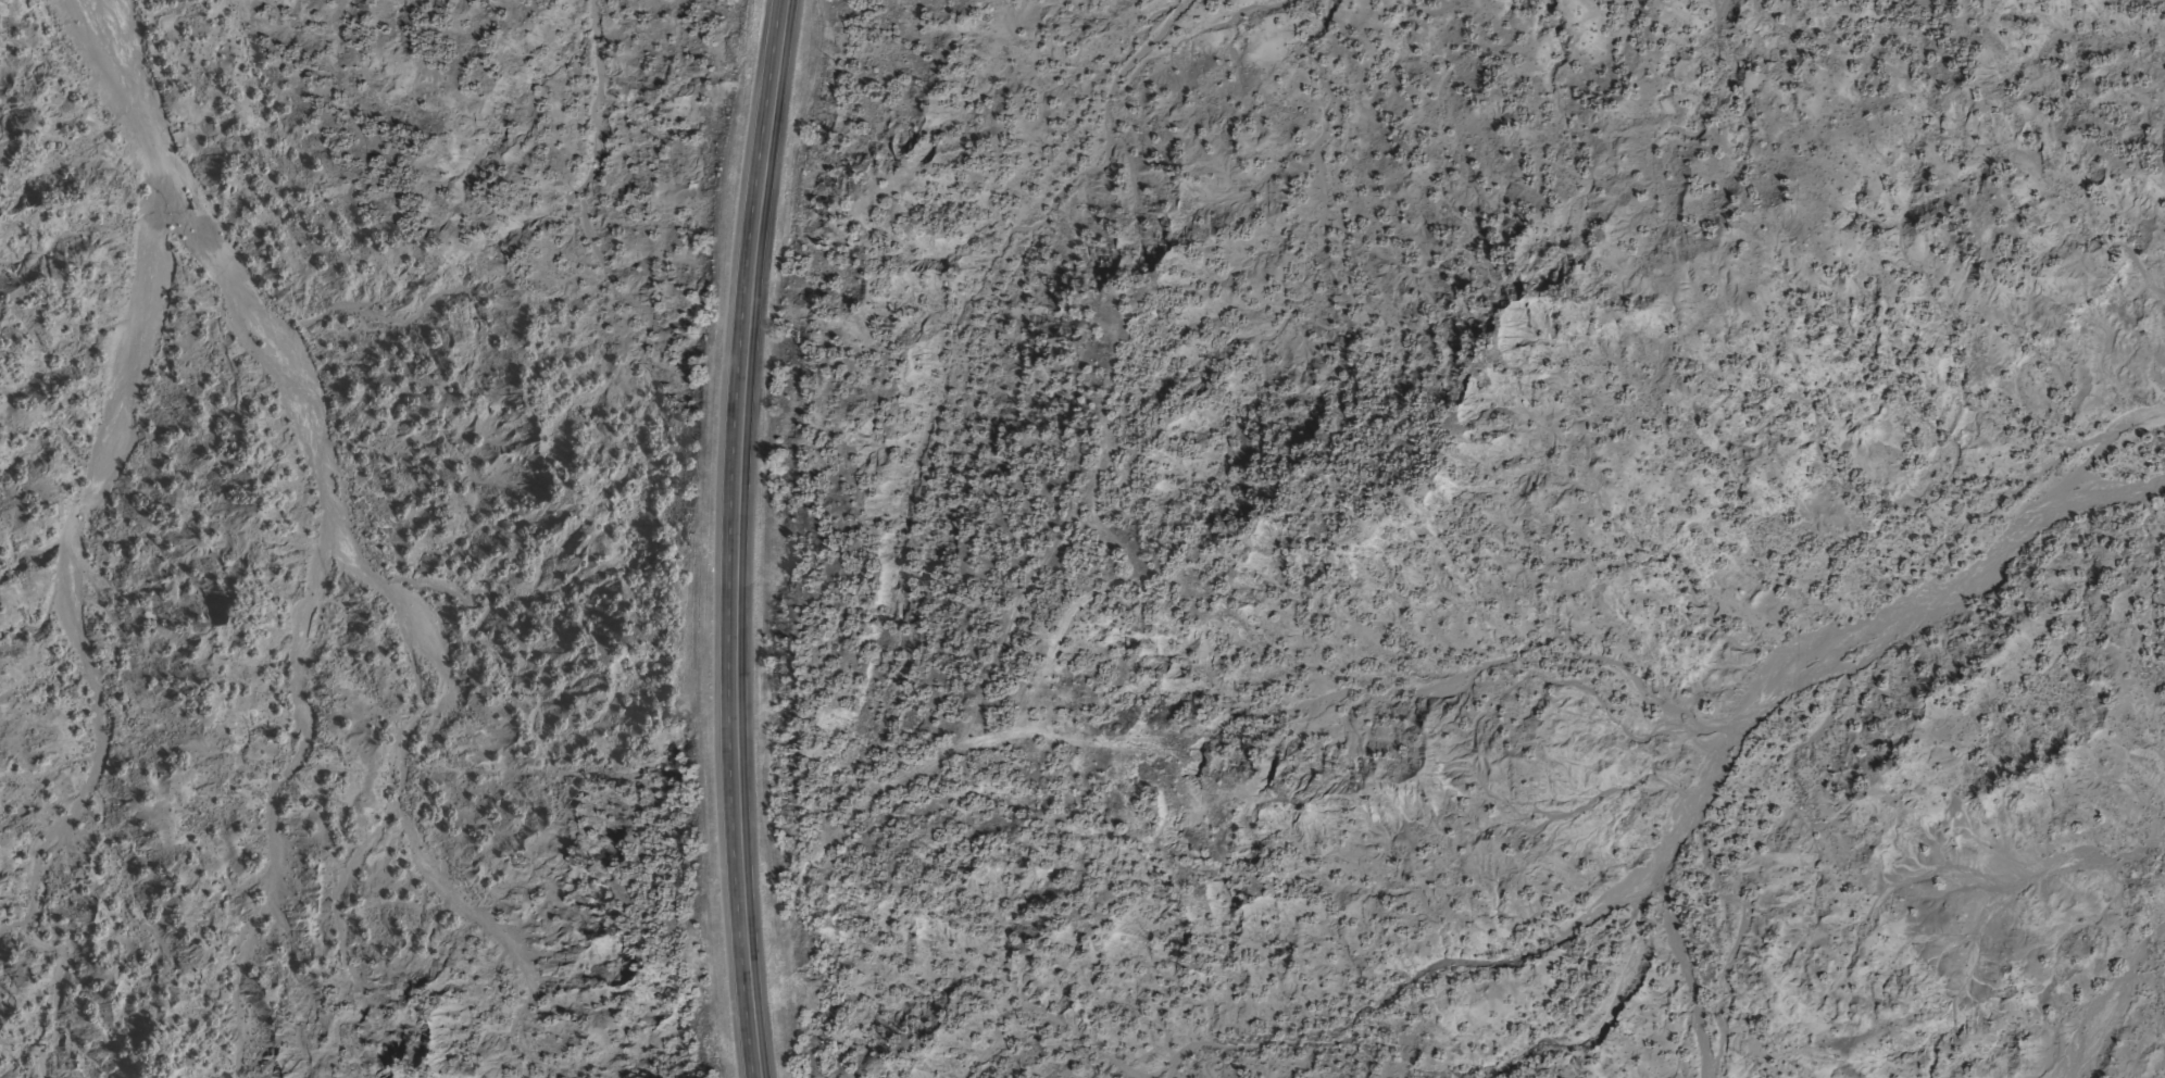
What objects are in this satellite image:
road: (733, 538)
road: (1037, 715)
road: (1077, 775)

